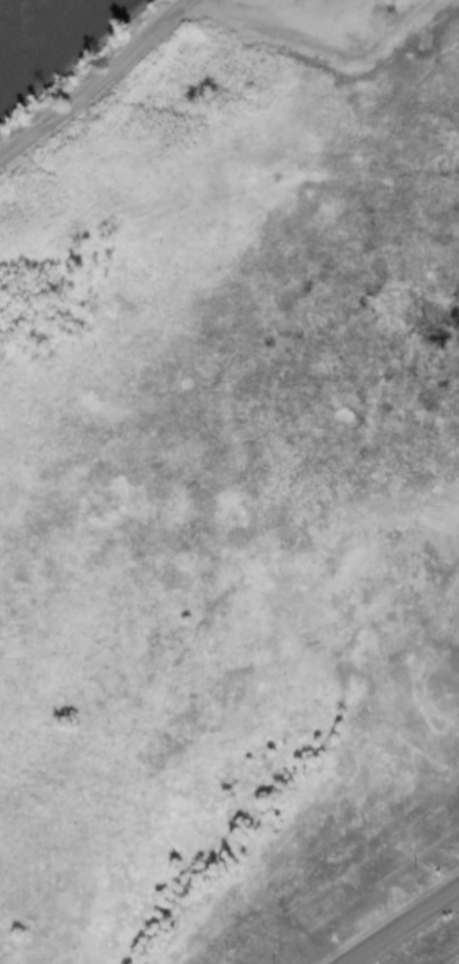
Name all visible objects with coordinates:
road: (268, 29)
road: (93, 79)
road: (400, 926)

